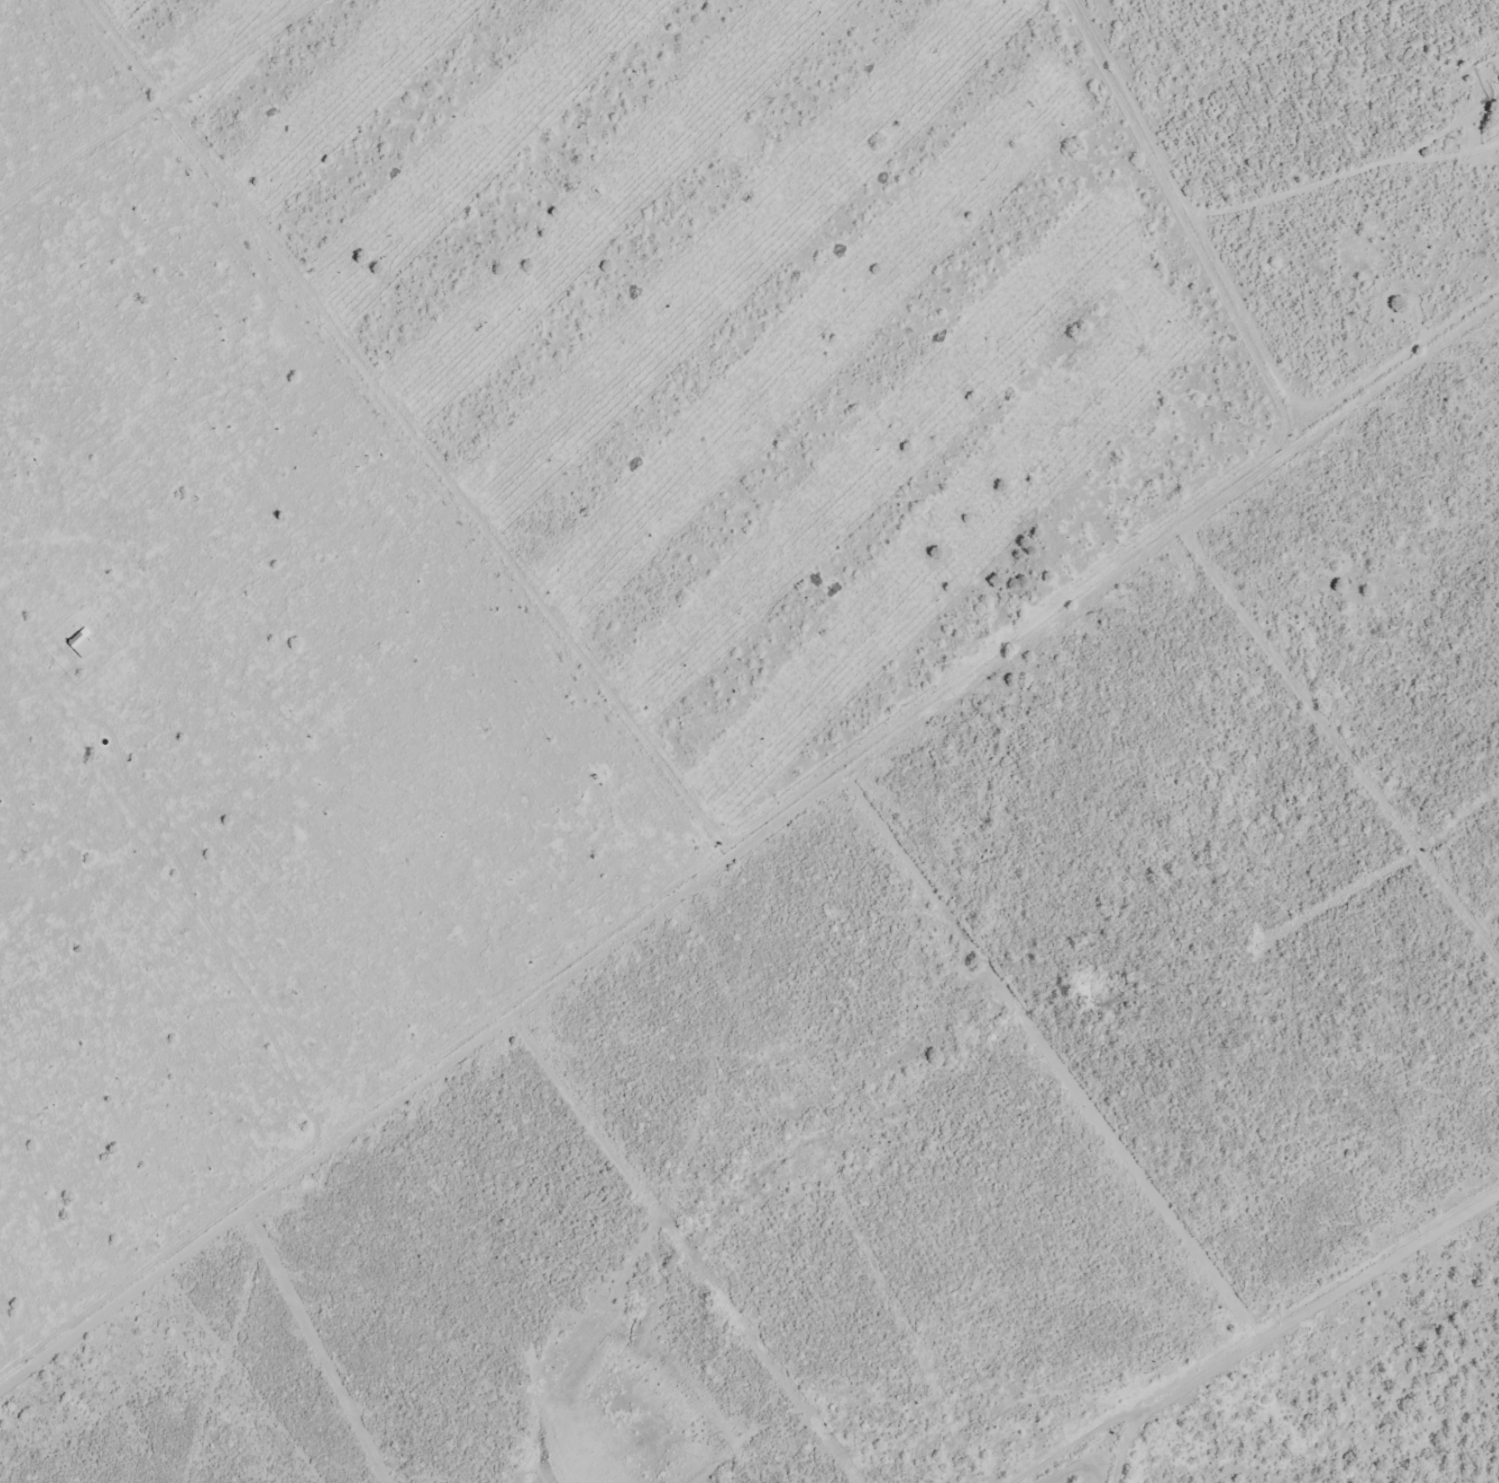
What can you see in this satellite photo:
road: (1429, 1407)

